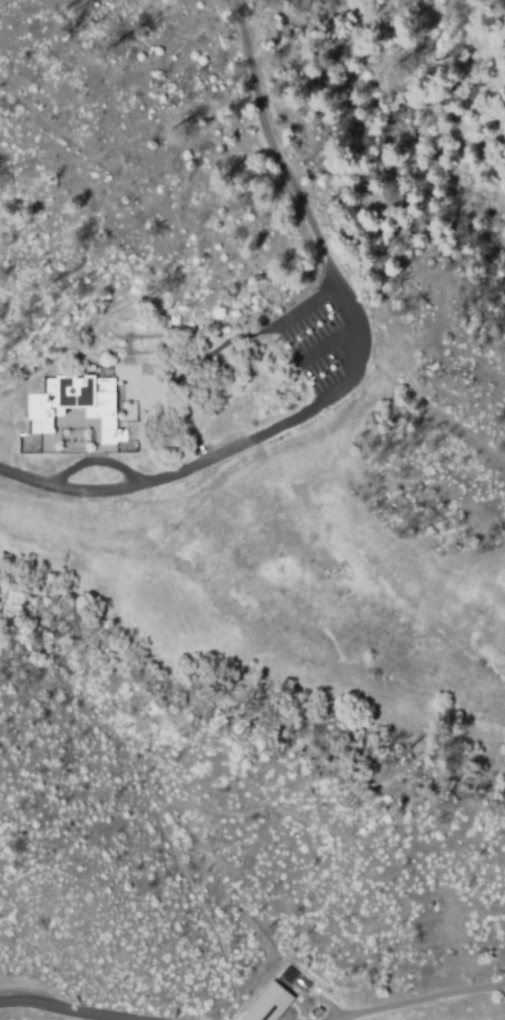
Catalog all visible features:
road: (271, 146)
road: (335, 286)
building: (91, 396)
road: (172, 475)
road: (420, 997)
road: (81, 1006)

